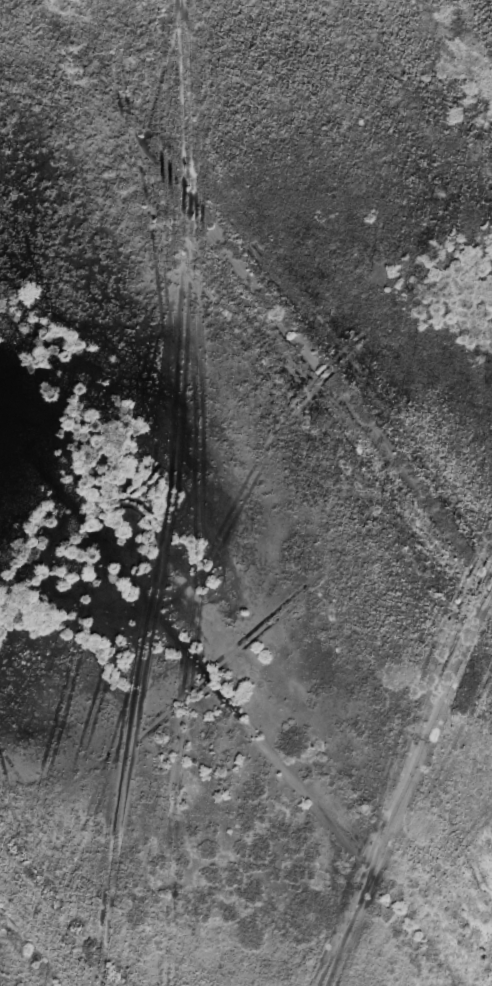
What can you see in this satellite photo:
landfill: (246, 493)

